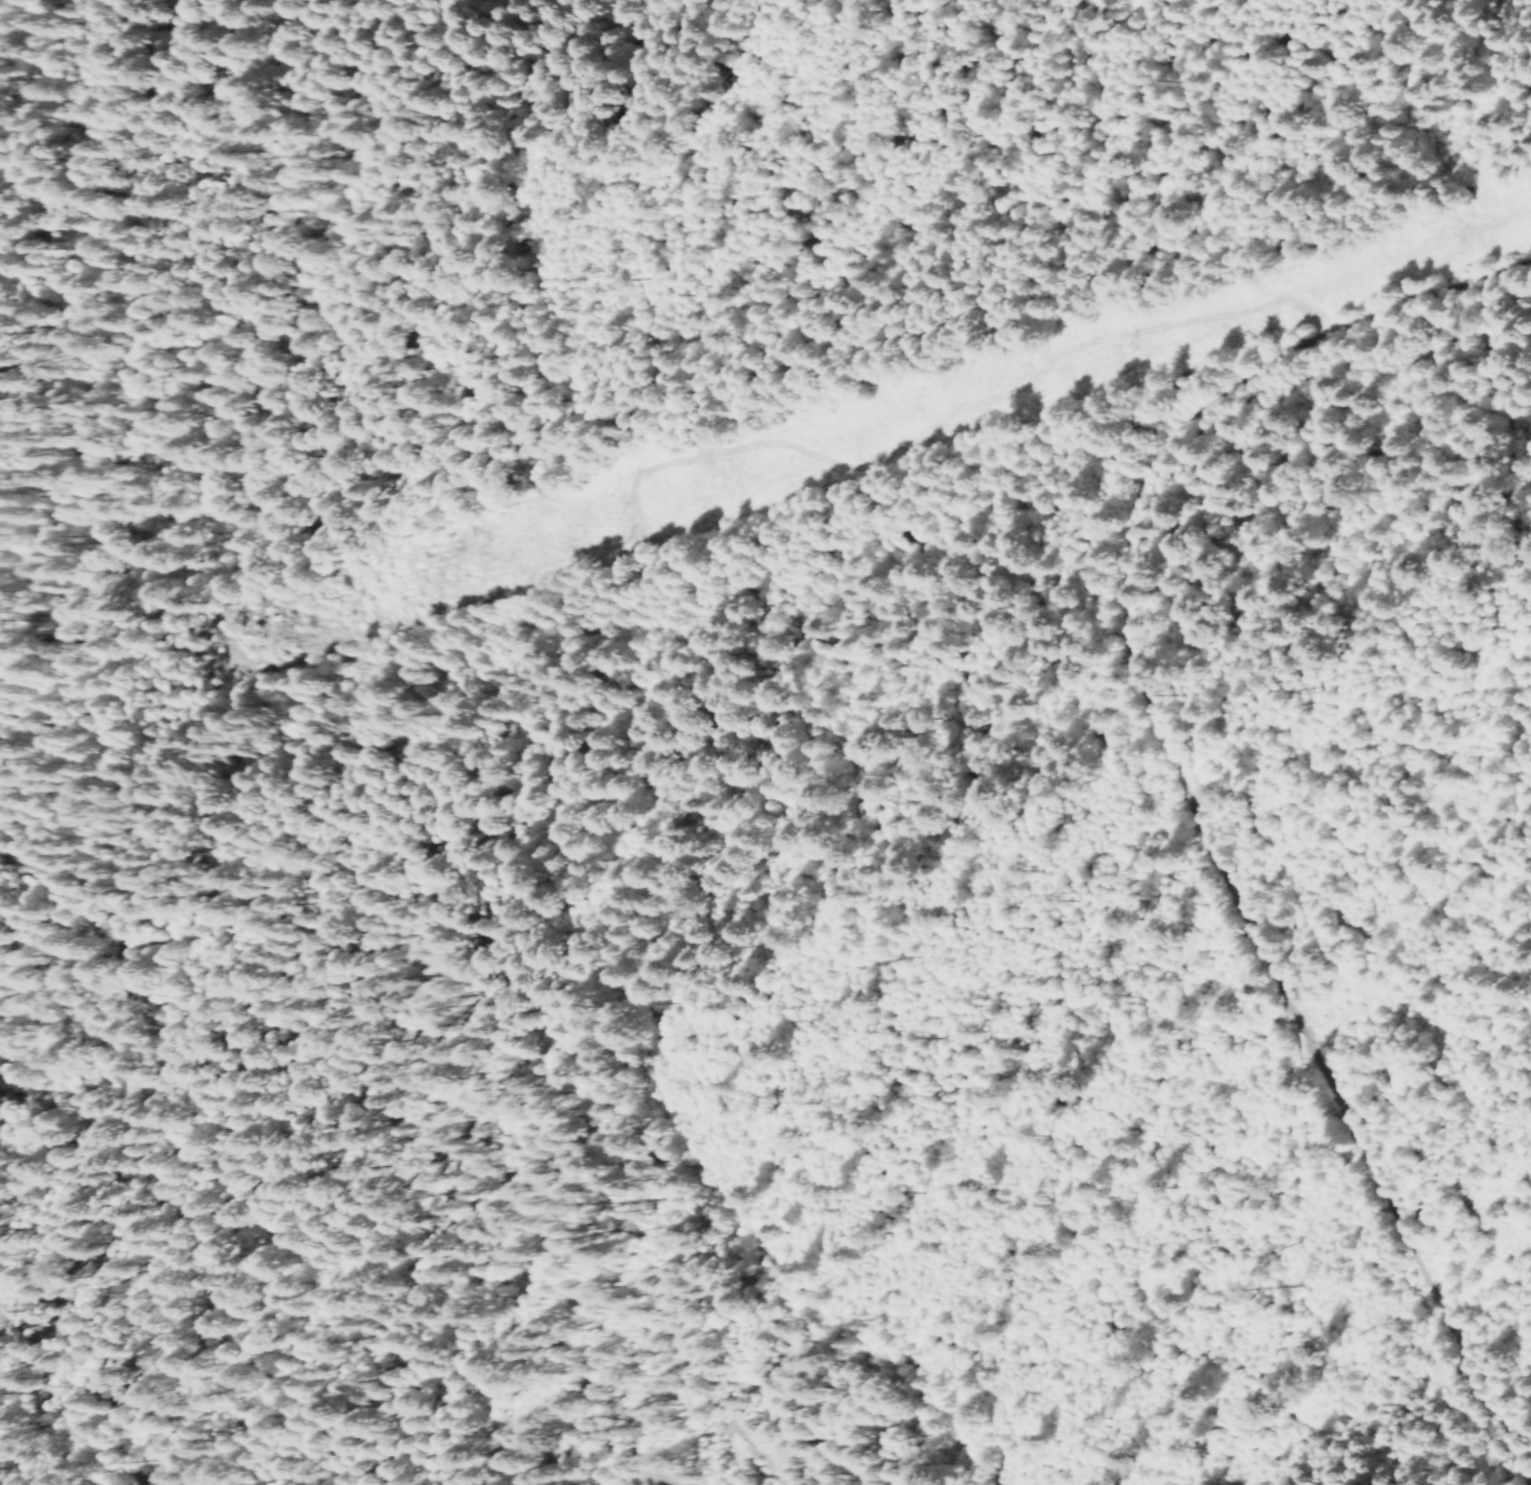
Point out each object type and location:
road: (1182, 787)

